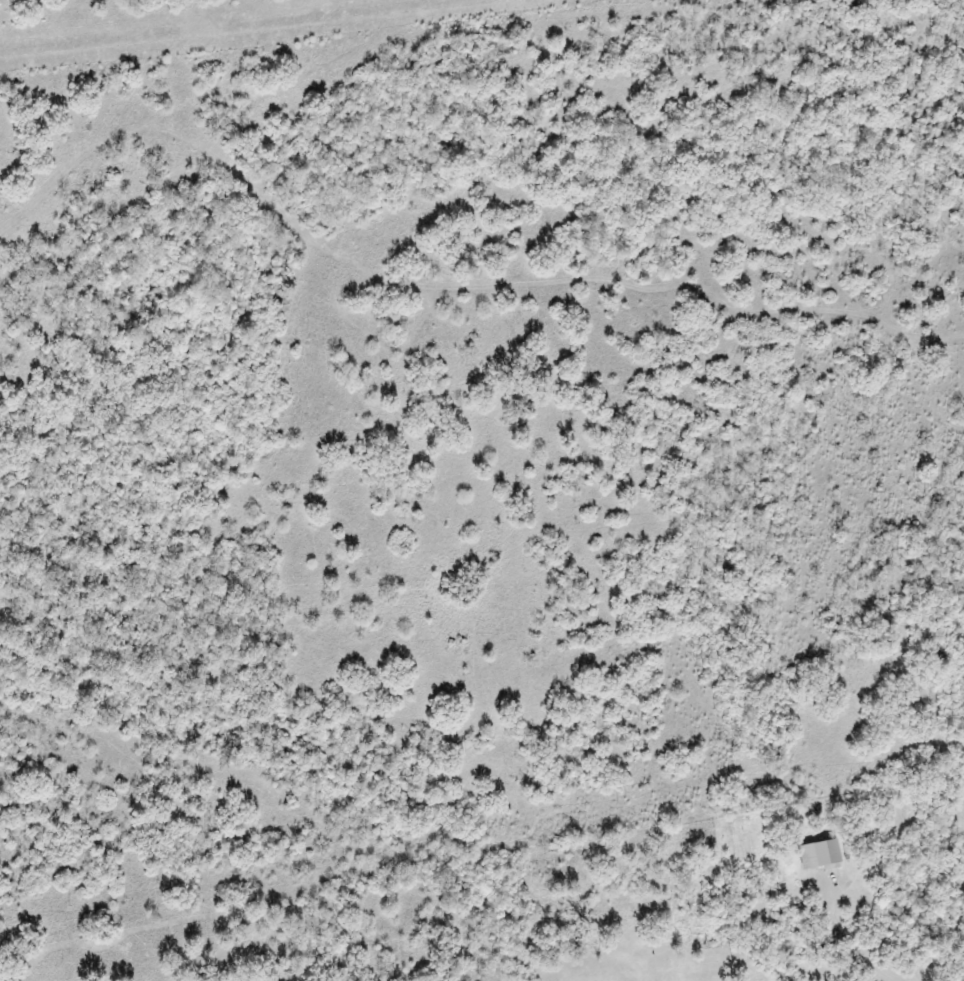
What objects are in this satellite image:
building: (822, 854)

